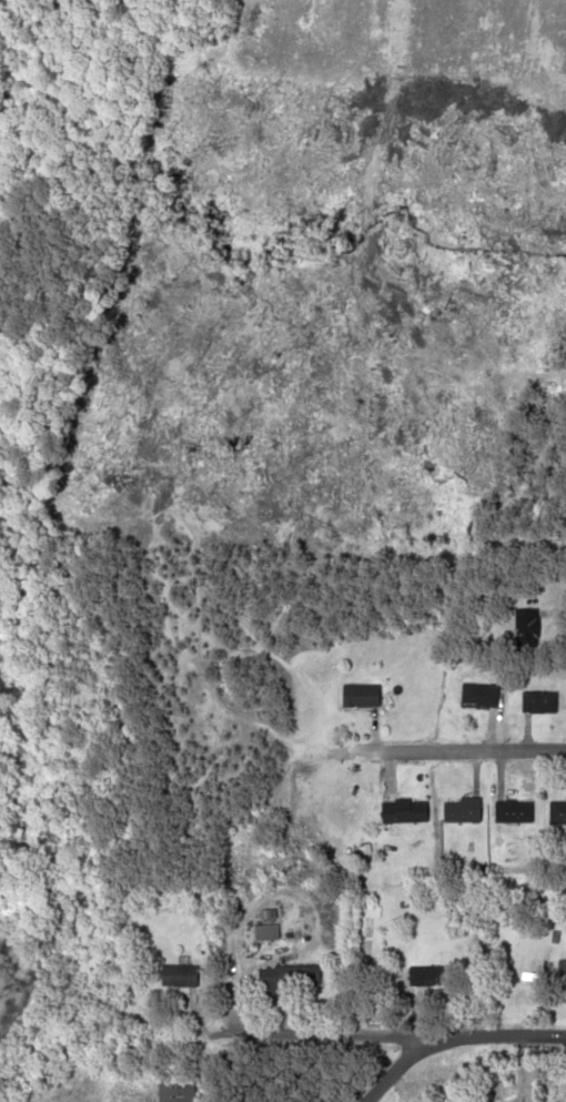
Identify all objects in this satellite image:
building: (528, 628)
building: (483, 696)
building: (362, 697)
building: (542, 704)
road: (449, 749)
building: (405, 812)
building: (465, 812)
building: (516, 813)
building: (558, 815)
building: (266, 932)
building: (563, 973)
building: (181, 975)
building: (432, 975)
building: (285, 979)
road: (496, 1037)
road: (317, 1039)
road: (396, 1070)
building: (180, 1090)

